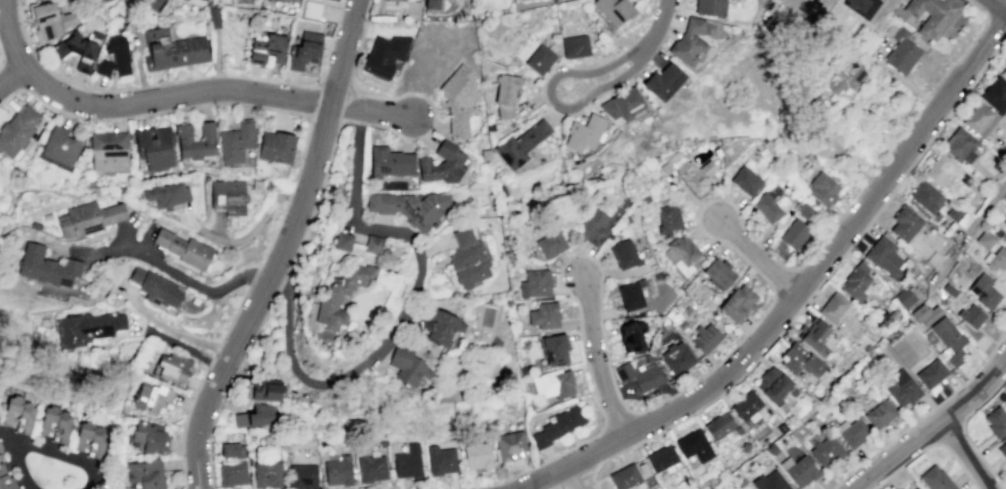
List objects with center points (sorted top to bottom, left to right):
building: (103, 0)
building: (273, 0)
building: (335, 0)
building: (404, 0)
building: (199, 1)
building: (293, 1)
building: (156, 4)
building: (431, 4)
building: (861, 6)
building: (710, 7)
road: (996, 7)
building: (313, 9)
building: (615, 10)
building: (932, 15)
building: (215, 17)
building: (50, 19)
road: (669, 23)
road: (657, 28)
building: (690, 41)
building: (574, 46)
building: (80, 48)
building: (268, 48)
building: (172, 49)
building: (306, 49)
road: (343, 52)
building: (902, 52)
building: (384, 54)
building: (115, 56)
road: (1, 57)
building: (539, 59)
road: (216, 61)
road: (139, 65)
building: (1004, 68)
road: (12, 74)
road: (217, 74)
road: (54, 75)
road: (11, 76)
building: (847, 77)
road: (180, 79)
building: (662, 80)
road: (313, 84)
road: (143, 86)
building: (505, 94)
building: (995, 94)
road: (397, 96)
road: (550, 97)
building: (458, 98)
road: (137, 102)
road: (344, 103)
road: (547, 103)
road: (313, 104)
building: (624, 104)
road: (184, 108)
road: (372, 110)
building: (815, 110)
building: (979, 119)
road: (357, 121)
building: (17, 131)
building: (584, 132)
building: (197, 141)
building: (236, 141)
building: (521, 143)
building: (958, 143)
building: (62, 147)
building: (155, 147)
building: (276, 147)
building: (110, 152)
building: (390, 162)
building: (441, 163)
building: (945, 171)
building: (691, 173)
building: (746, 180)
building: (824, 189)
building: (166, 194)
road: (289, 195)
building: (229, 196)
building: (925, 196)
building: (1005, 197)
building: (772, 204)
building: (410, 207)
building: (806, 211)
building: (957, 215)
building: (668, 217)
building: (88, 218)
building: (1005, 221)
building: (904, 223)
building: (593, 227)
road: (218, 228)
road: (273, 234)
building: (795, 234)
road: (967, 234)
road: (124, 235)
road: (248, 235)
building: (986, 239)
road: (145, 241)
building: (342, 241)
building: (551, 242)
building: (373, 244)
building: (184, 248)
building: (624, 254)
building: (681, 254)
road: (930, 254)
road: (757, 256)
building: (884, 257)
building: (468, 259)
building: (998, 259)
building: (48, 267)
building: (718, 274)
road: (254, 275)
road: (781, 278)
building: (856, 282)
building: (535, 283)
building: (157, 286)
road: (798, 287)
road: (817, 287)
building: (950, 290)
building: (986, 291)
road: (256, 296)
building: (905, 296)
building: (634, 297)
building: (334, 299)
road: (272, 302)
building: (737, 303)
building: (832, 307)
road: (235, 312)
building: (925, 313)
building: (544, 315)
building: (972, 316)
building: (437, 324)
building: (89, 329)
road: (170, 329)
building: (632, 335)
building: (813, 335)
building: (705, 337)
building: (949, 341)
road: (176, 343)
road: (218, 346)
road: (735, 346)
building: (553, 349)
road: (214, 354)
building: (678, 357)
road: (599, 358)
building: (800, 360)
road: (210, 362)
building: (407, 364)
building: (173, 365)
building: (931, 373)
building: (638, 375)
road: (332, 381)
building: (774, 384)
building: (551, 386)
building: (266, 389)
building: (902, 391)
building: (155, 394)
building: (745, 405)
building: (11, 410)
building: (880, 413)
road: (925, 413)
building: (253, 416)
building: (24, 418)
road: (617, 418)
building: (48, 420)
building: (996, 422)
building: (558, 424)
road: (183, 425)
building: (718, 425)
road: (932, 426)
building: (61, 427)
road: (963, 429)
building: (854, 432)
road: (950, 433)
building: (82, 435)
building: (147, 436)
building: (96, 442)
building: (382, 443)
building: (510, 445)
building: (694, 445)
road: (927, 445)
road: (40, 446)
building: (1002, 449)
building: (1, 451)
building: (826, 451)
road: (964, 454)
building: (478, 455)
building: (661, 458)
building: (441, 460)
building: (409, 462)
building: (229, 466)
building: (372, 468)
building: (338, 470)
building: (801, 471)
building: (144, 472)
building: (267, 473)
building: (302, 476)
building: (624, 476)
road: (578, 477)
building: (935, 479)
building: (6, 480)
building: (769, 481)
road: (557, 486)
building: (900, 488)
building: (916, 488)

